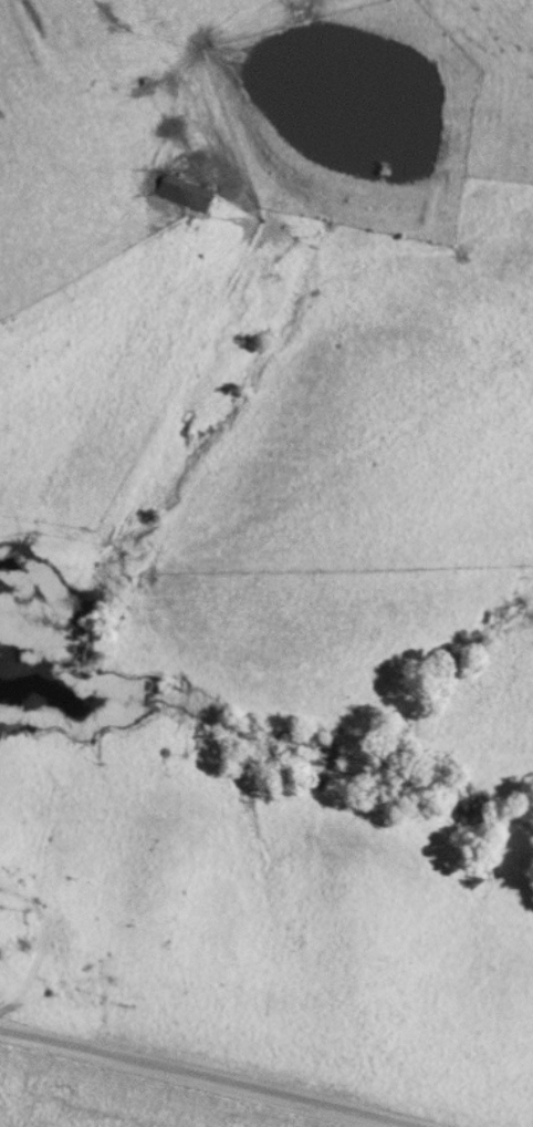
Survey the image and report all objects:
road: (500, 22)
road: (202, 54)
building: (189, 185)
road: (222, 1075)

